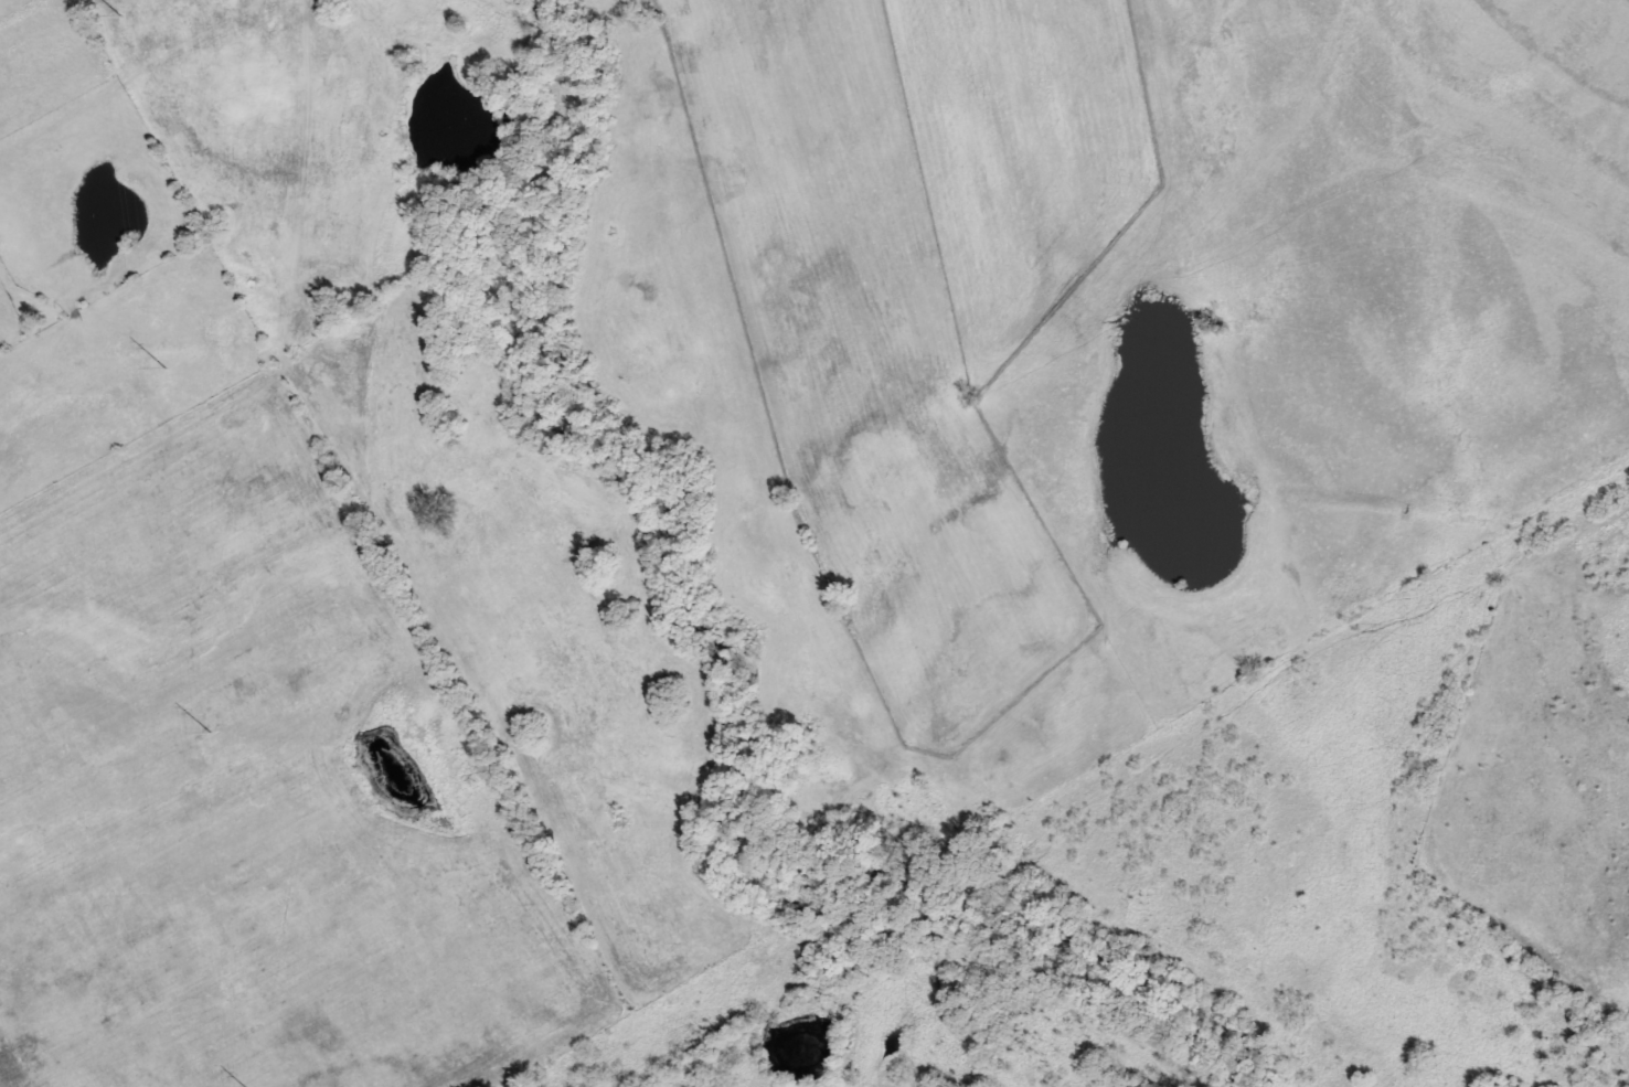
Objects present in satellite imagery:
power tower: (120, 15)
power tower: (164, 366)
power tower: (210, 731)

